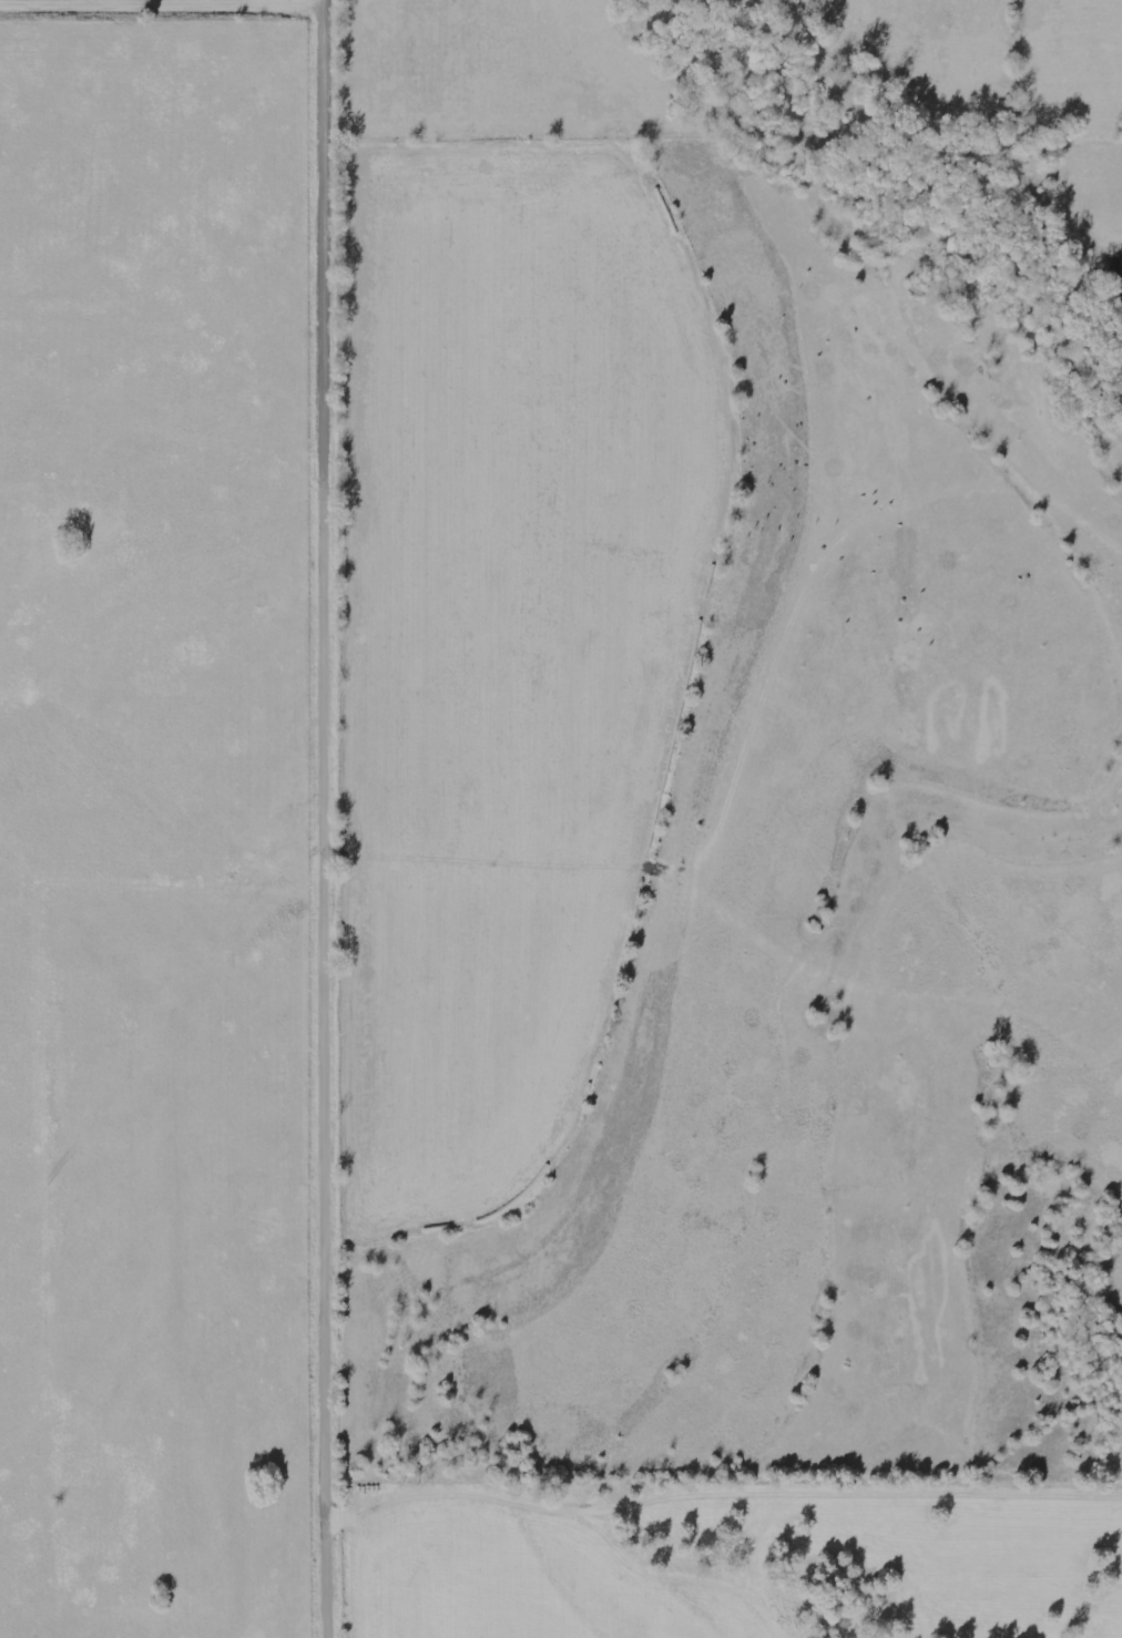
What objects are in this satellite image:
road: (166, 9)
road: (333, 819)

